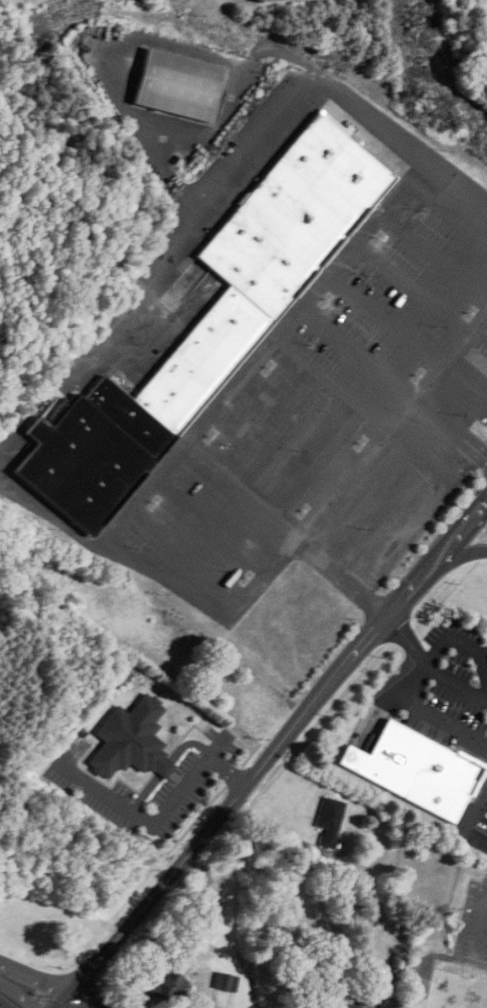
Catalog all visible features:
building: (270, 1)
building: (178, 84)
power tower: (427, 96)
road: (158, 119)
road: (200, 209)
road: (435, 252)
road: (413, 288)
road: (387, 318)
road: (485, 320)
building: (213, 325)
road: (359, 352)
road: (328, 387)
road: (206, 419)
road: (301, 421)
road: (391, 426)
road: (451, 427)
road: (272, 454)
road: (241, 491)
road: (44, 510)
road: (215, 523)
road: (191, 551)
road: (342, 577)
road: (472, 646)
road: (418, 659)
road: (430, 664)
road: (439, 714)
building: (132, 740)
road: (272, 752)
building: (402, 761)
road: (472, 791)
road: (158, 817)
building: (330, 821)
road: (472, 828)
building: (207, 913)
building: (225, 982)
building: (167, 984)
road: (26, 989)
building: (456, 991)
road: (81, 1003)
building: (356, 1006)

